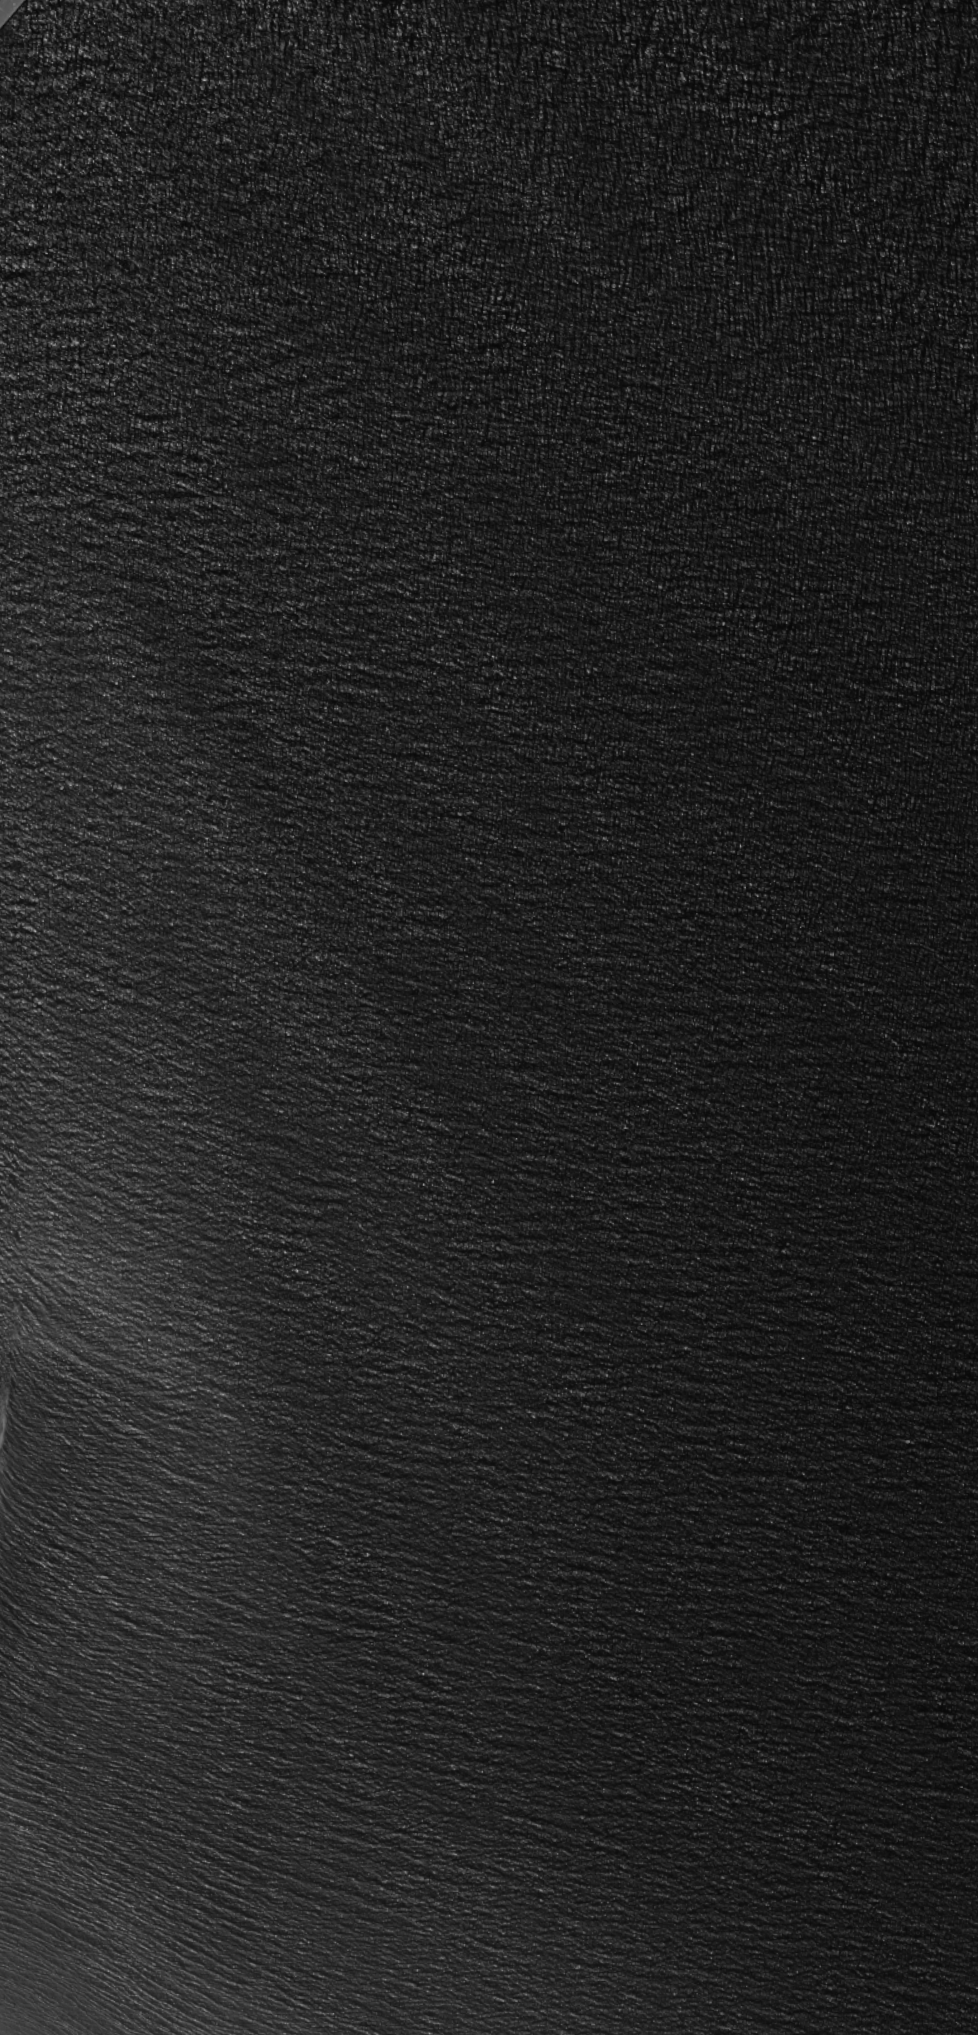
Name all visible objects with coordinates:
road: (3, 4)
pier: (6, 7)

